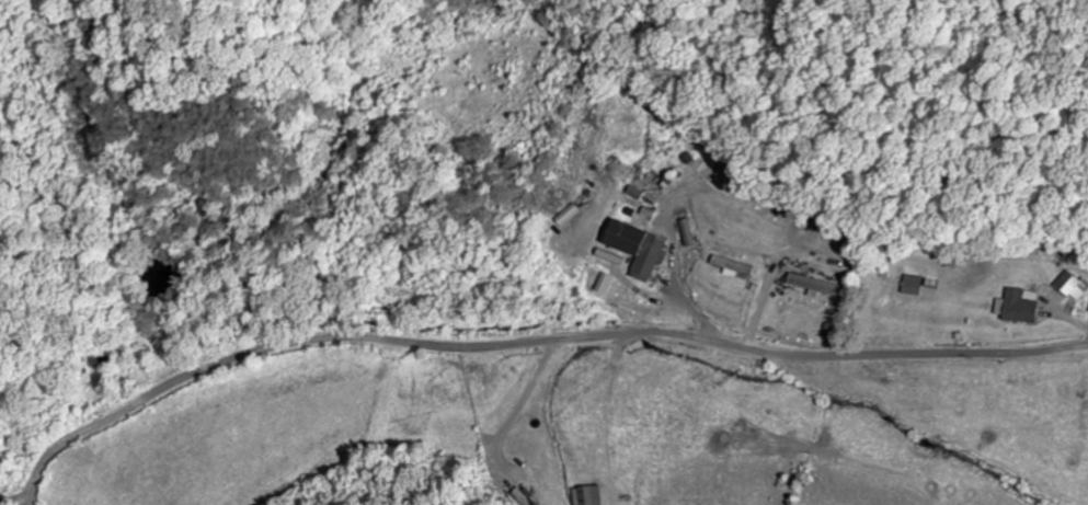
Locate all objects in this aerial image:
building: (644, 251)
building: (609, 285)
building: (815, 287)
building: (1070, 287)
building: (1013, 308)
road: (531, 344)
building: (591, 495)

